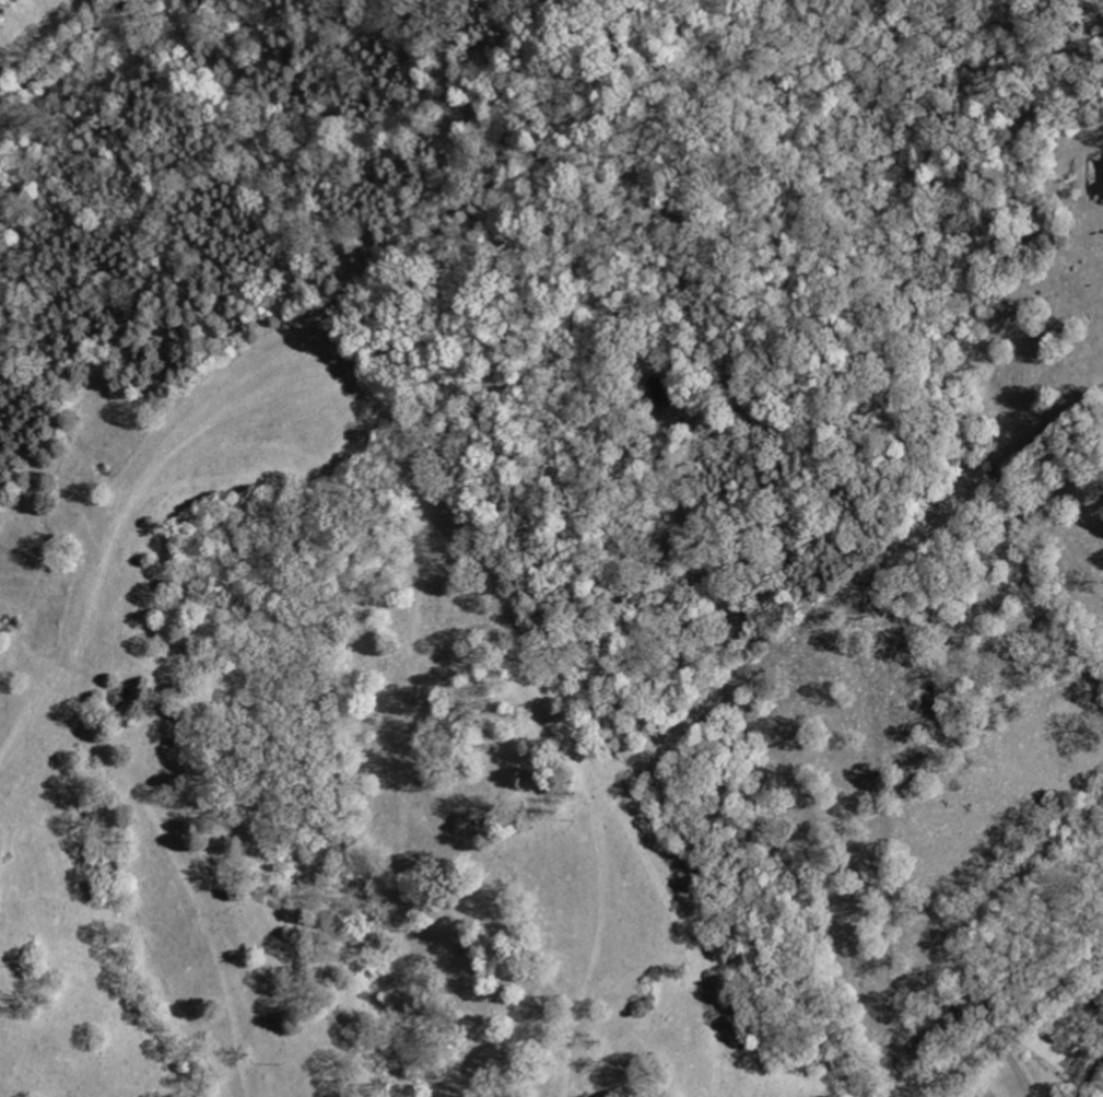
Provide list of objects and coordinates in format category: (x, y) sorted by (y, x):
road: (1017, 1022)
road: (1011, 1067)

